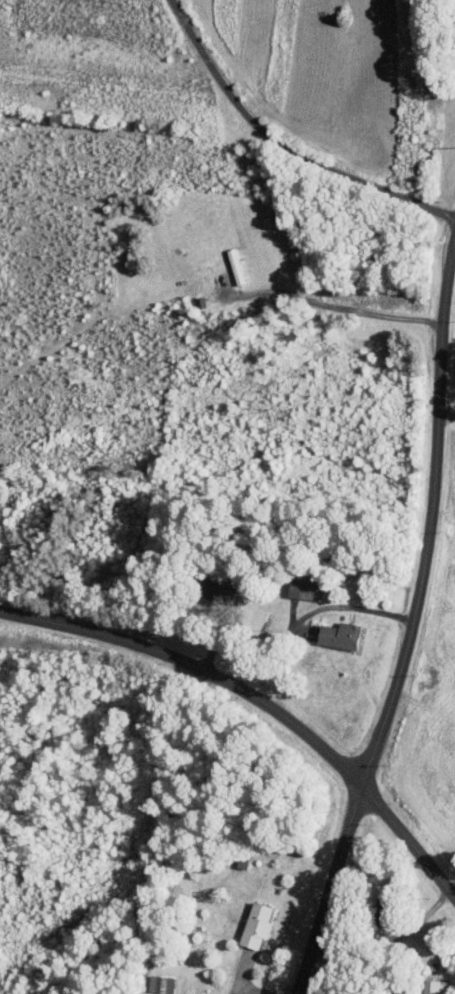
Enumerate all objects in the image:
road: (284, 149)
road: (334, 303)
road: (444, 416)
building: (304, 588)
road: (306, 614)
road: (404, 617)
building: (342, 635)
road: (263, 701)
building: (258, 925)
building: (161, 983)
building: (436, 987)

